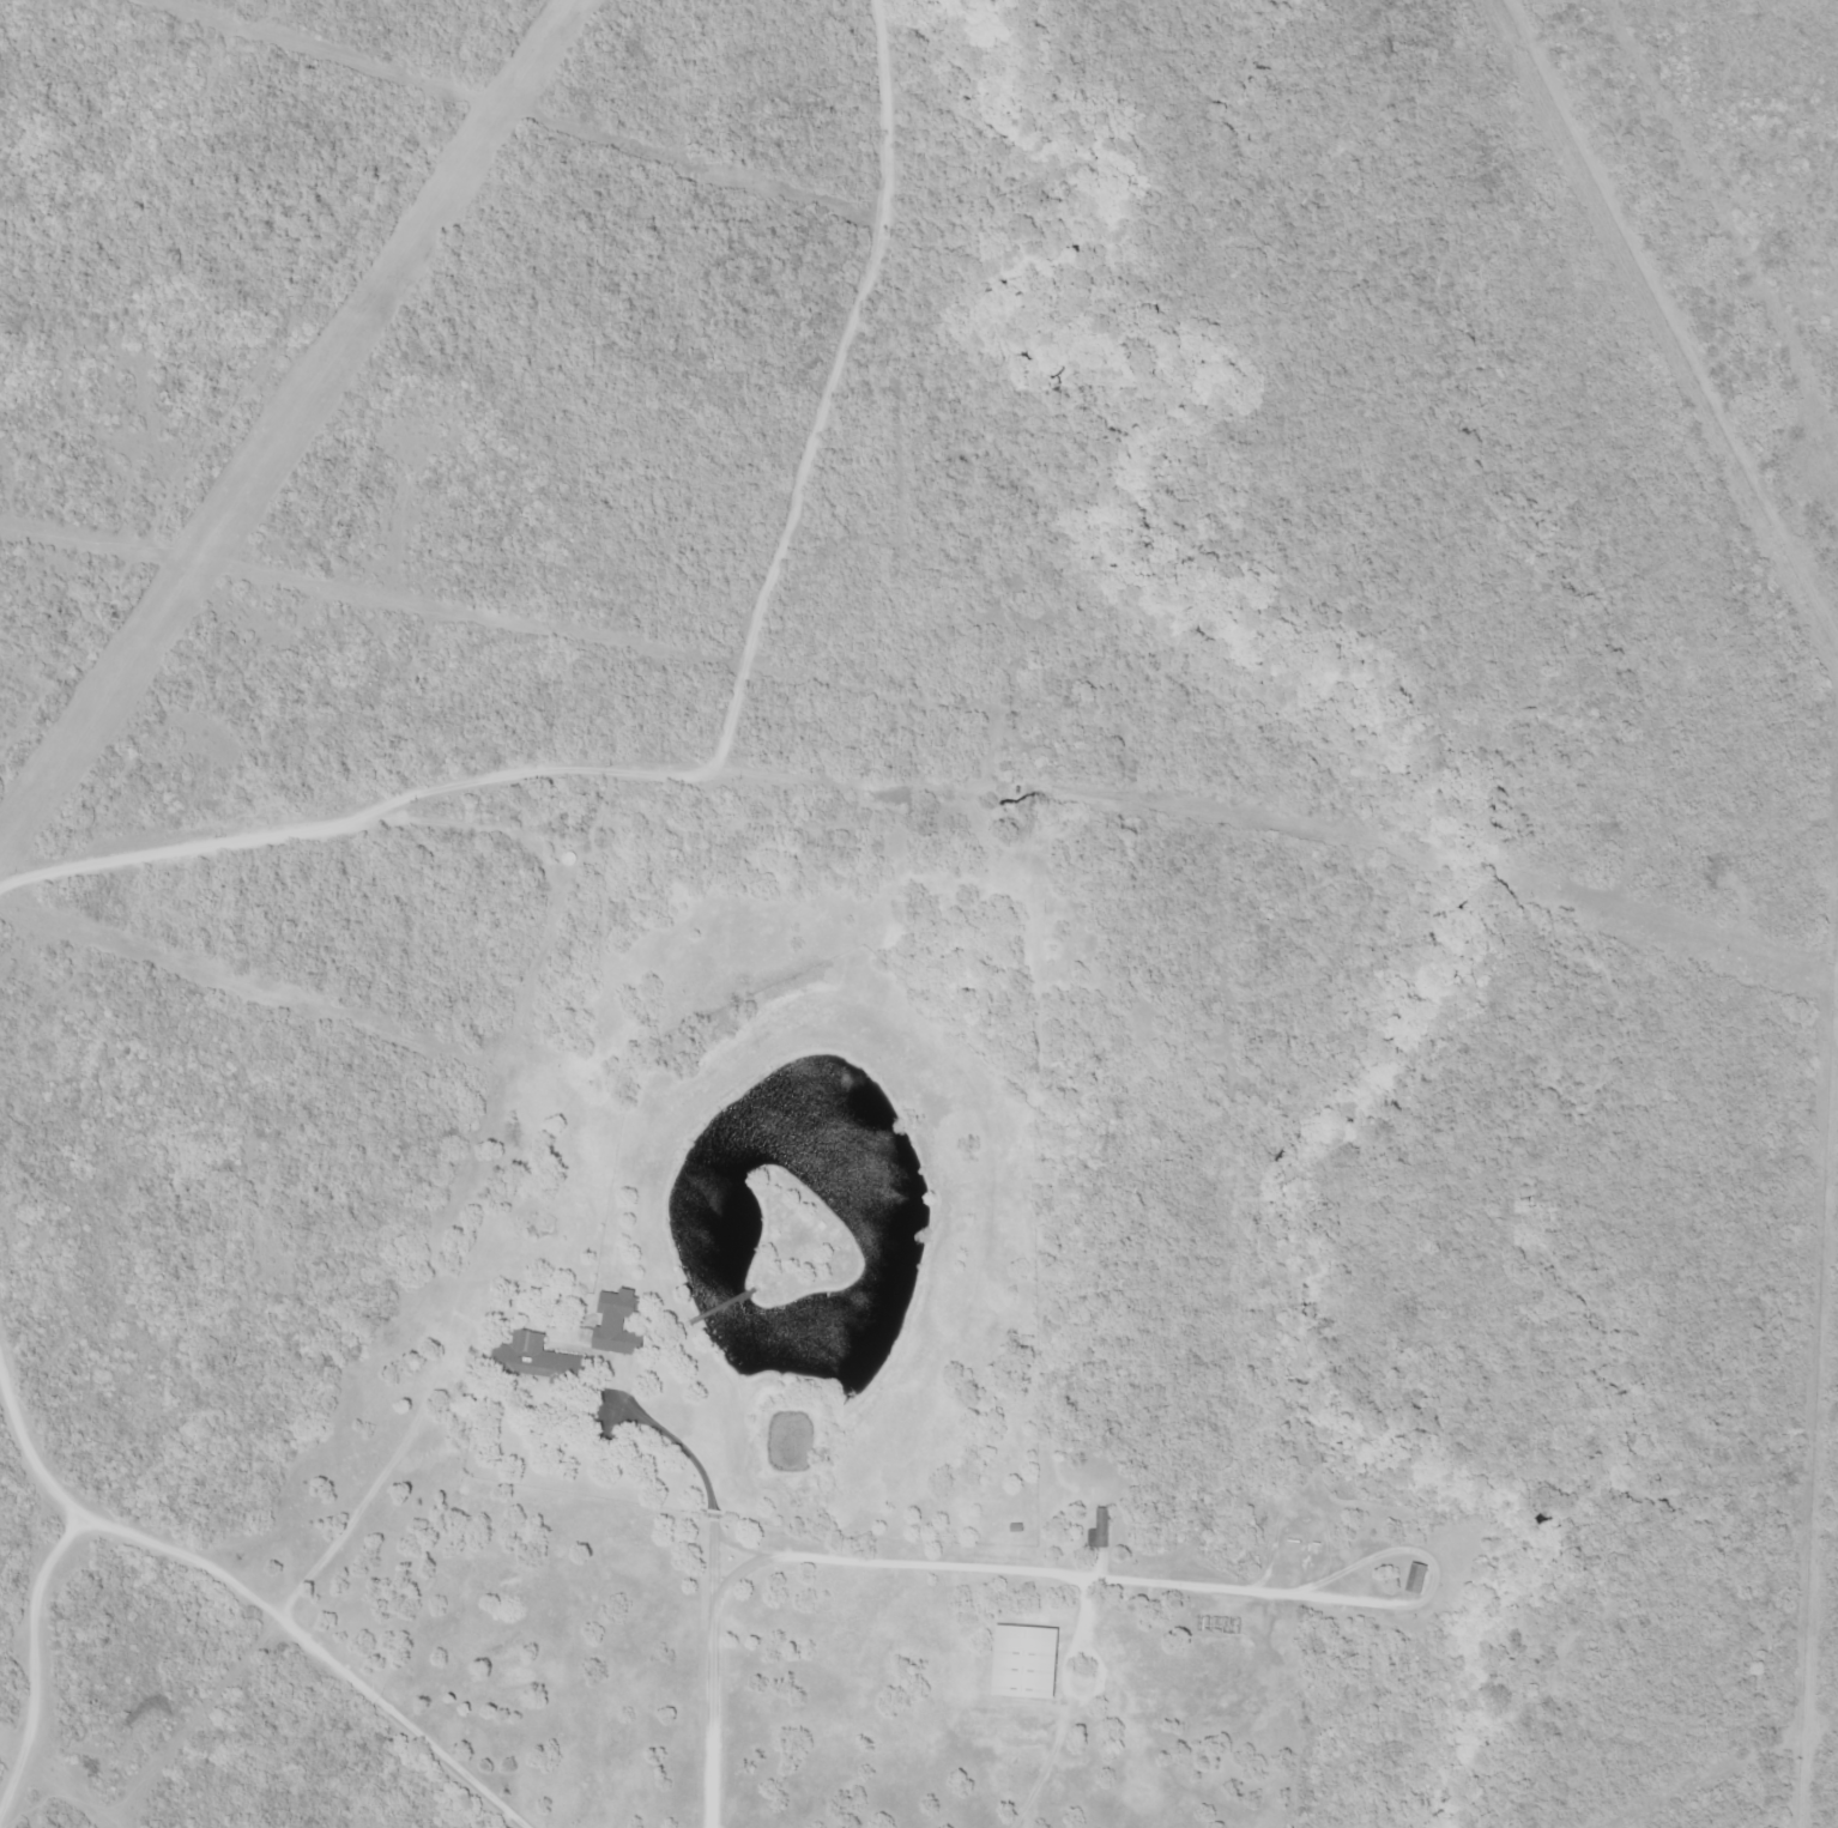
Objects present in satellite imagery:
building: (615, 1325)
building: (533, 1360)
building: (1098, 1531)
building: (1414, 1579)
road: (243, 1593)
building: (1123, 1639)
building: (1023, 1663)

